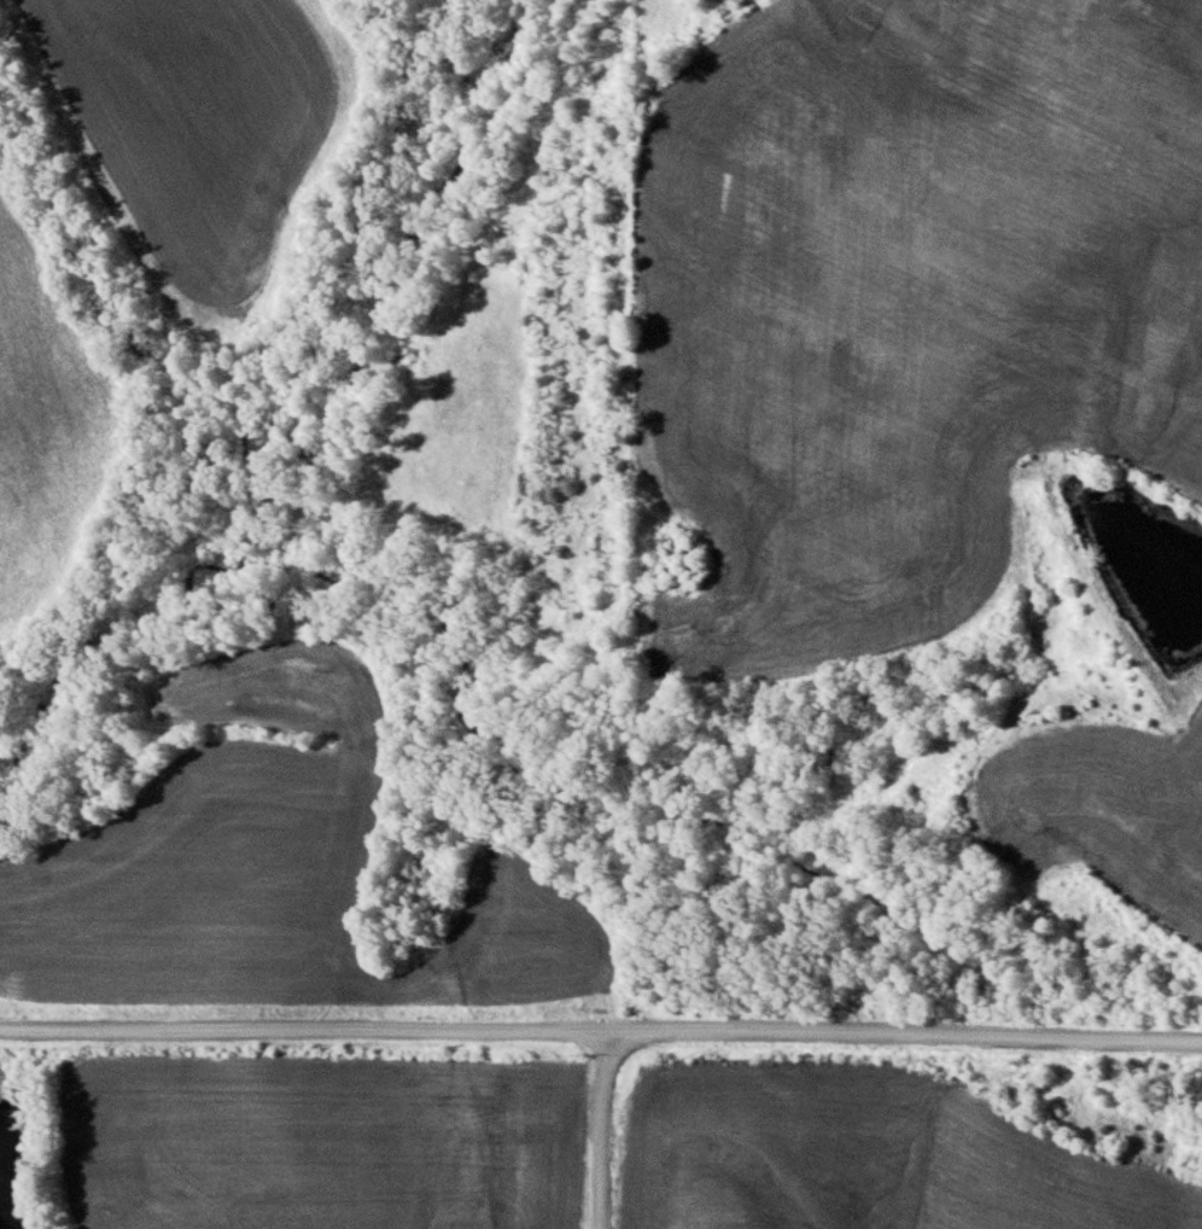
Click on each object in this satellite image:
road: (601, 1024)
road: (605, 1126)

